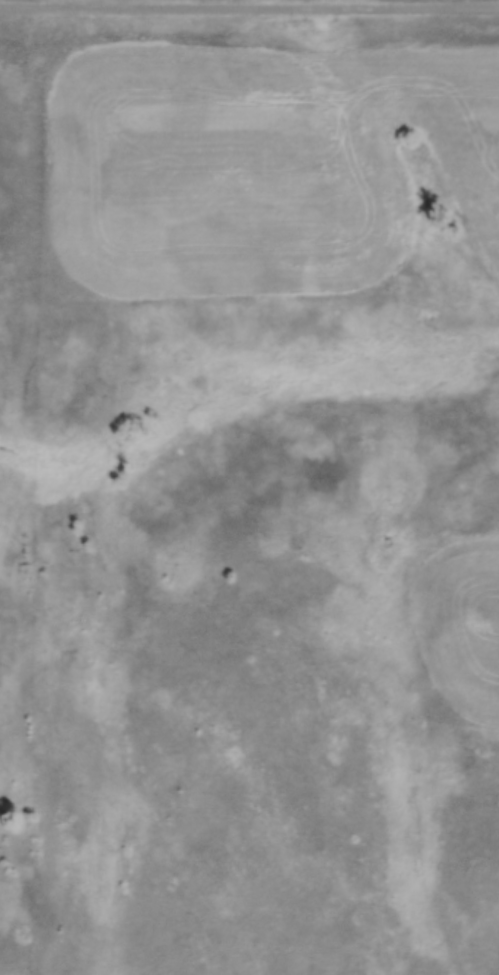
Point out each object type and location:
road: (249, 11)

